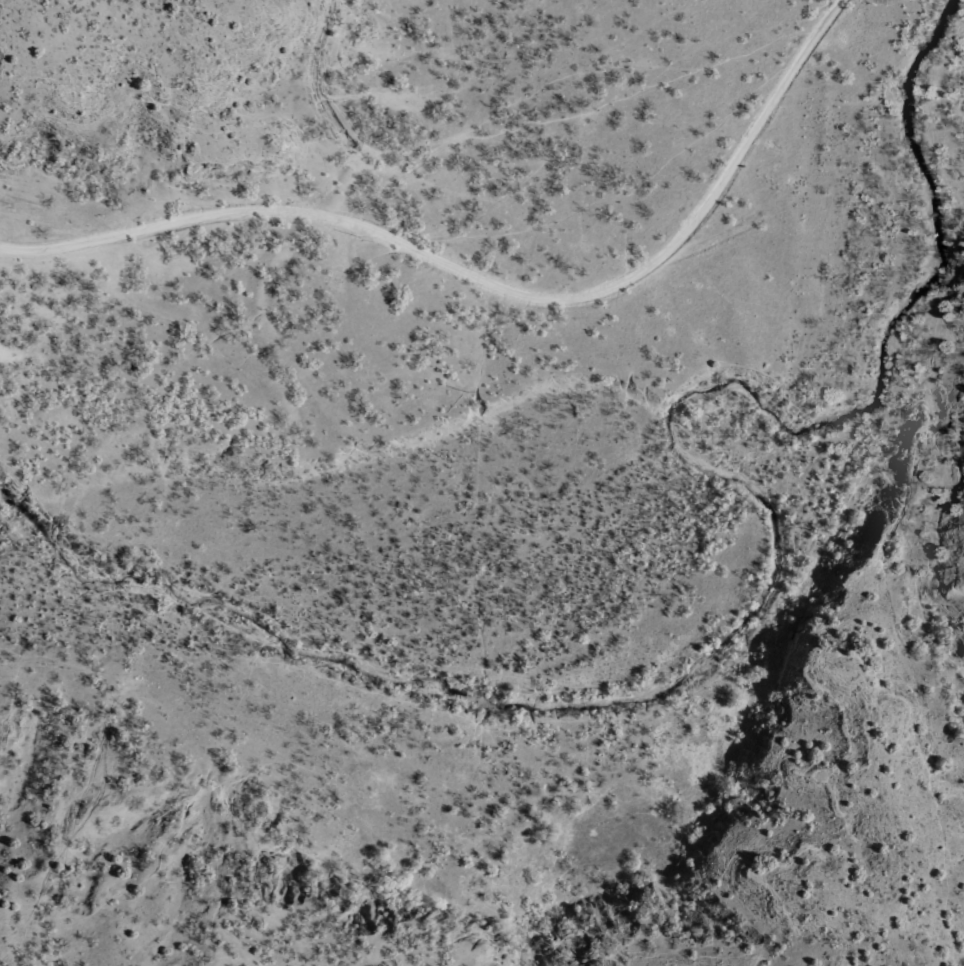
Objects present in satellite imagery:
road: (486, 275)

